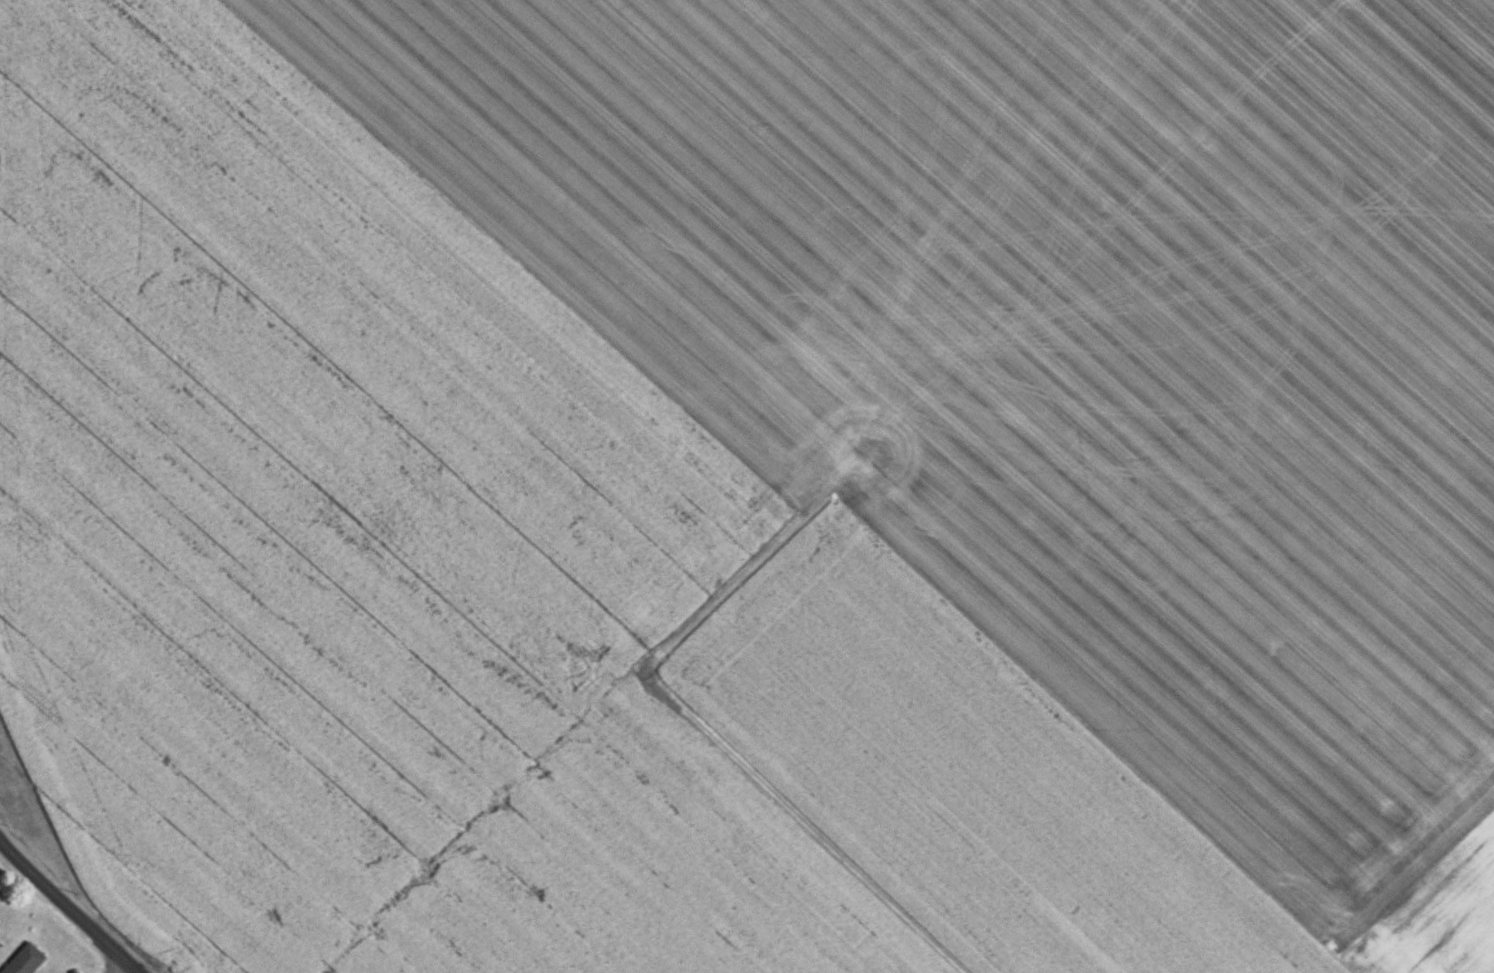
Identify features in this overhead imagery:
road: (63, 904)
building: (22, 960)
road: (127, 971)
road: (132, 971)

